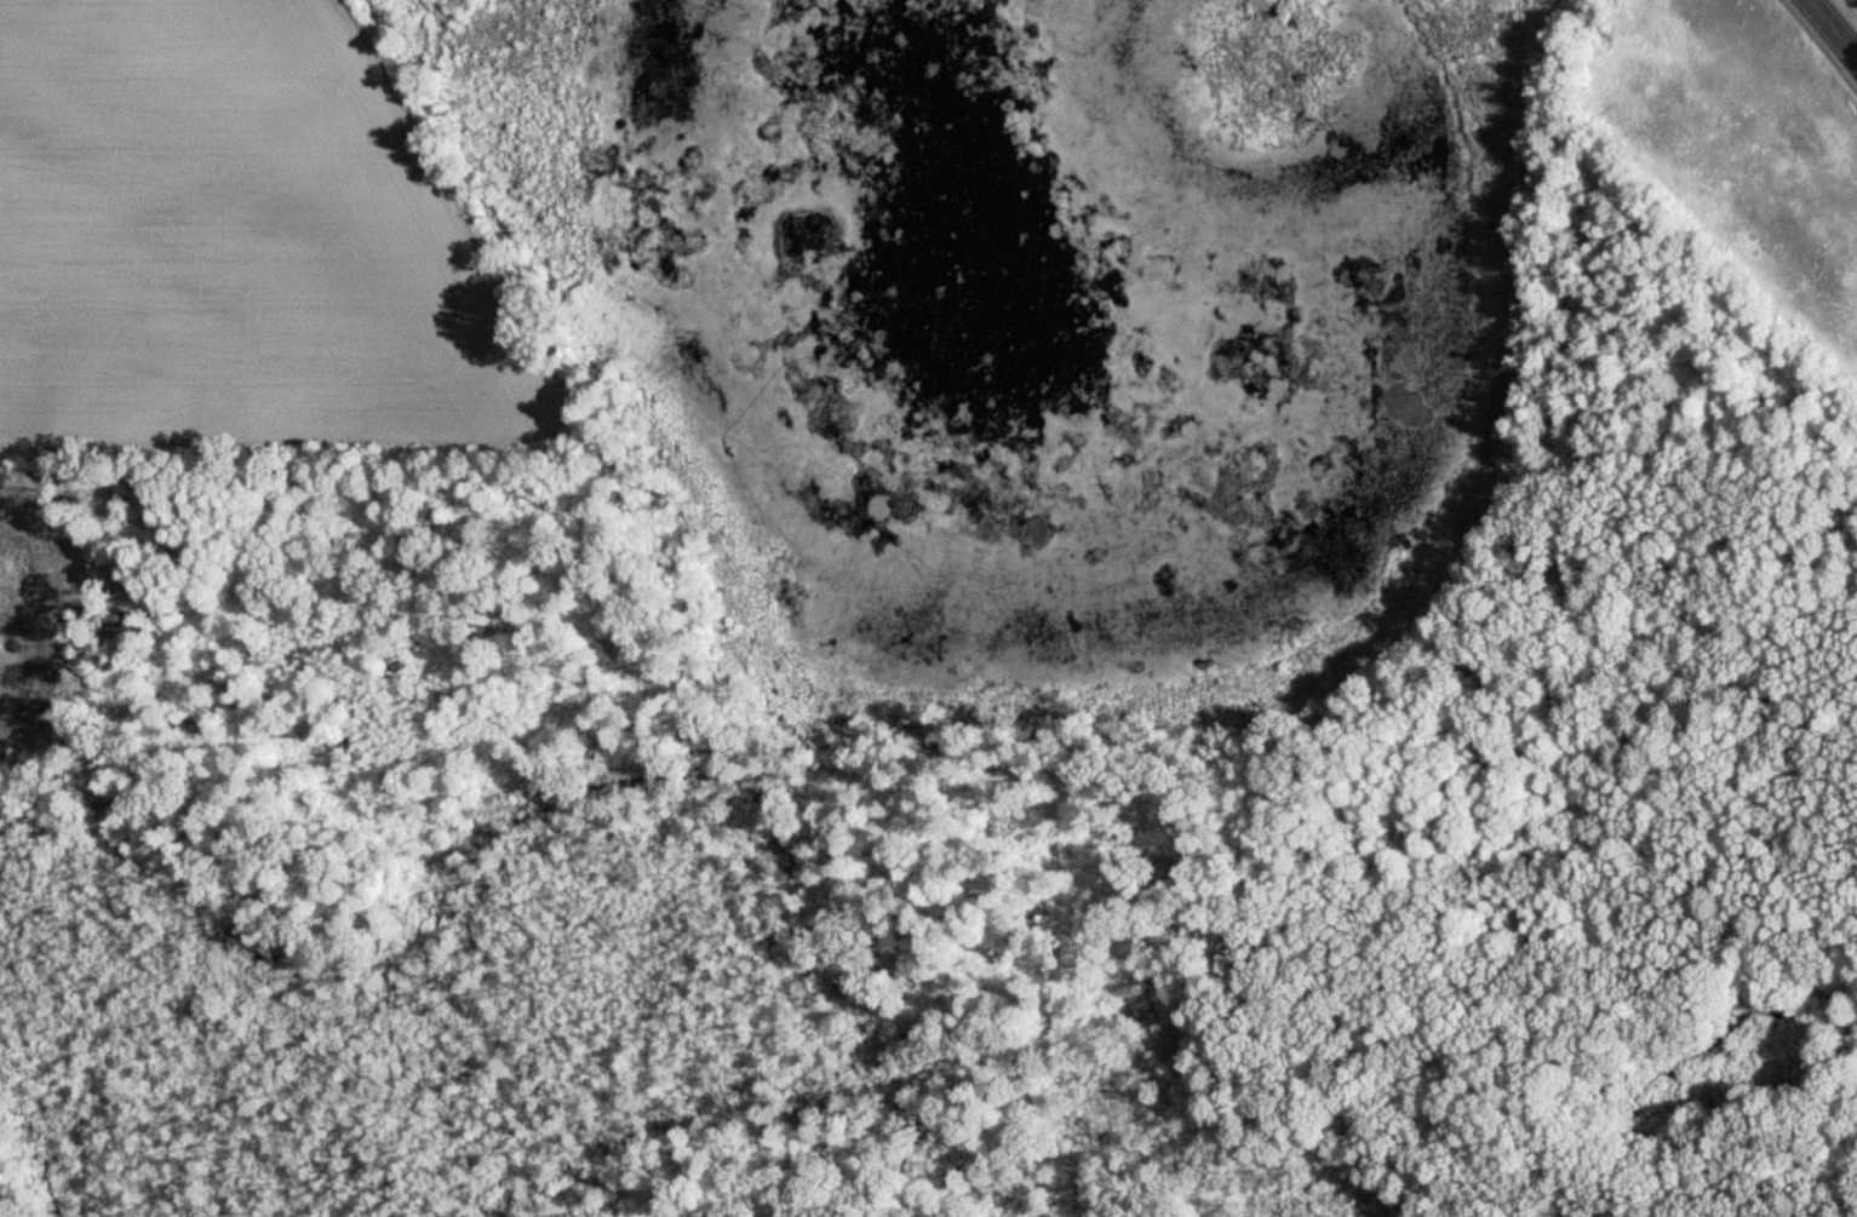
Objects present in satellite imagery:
road: (1836, 25)
road: (1618, 948)

